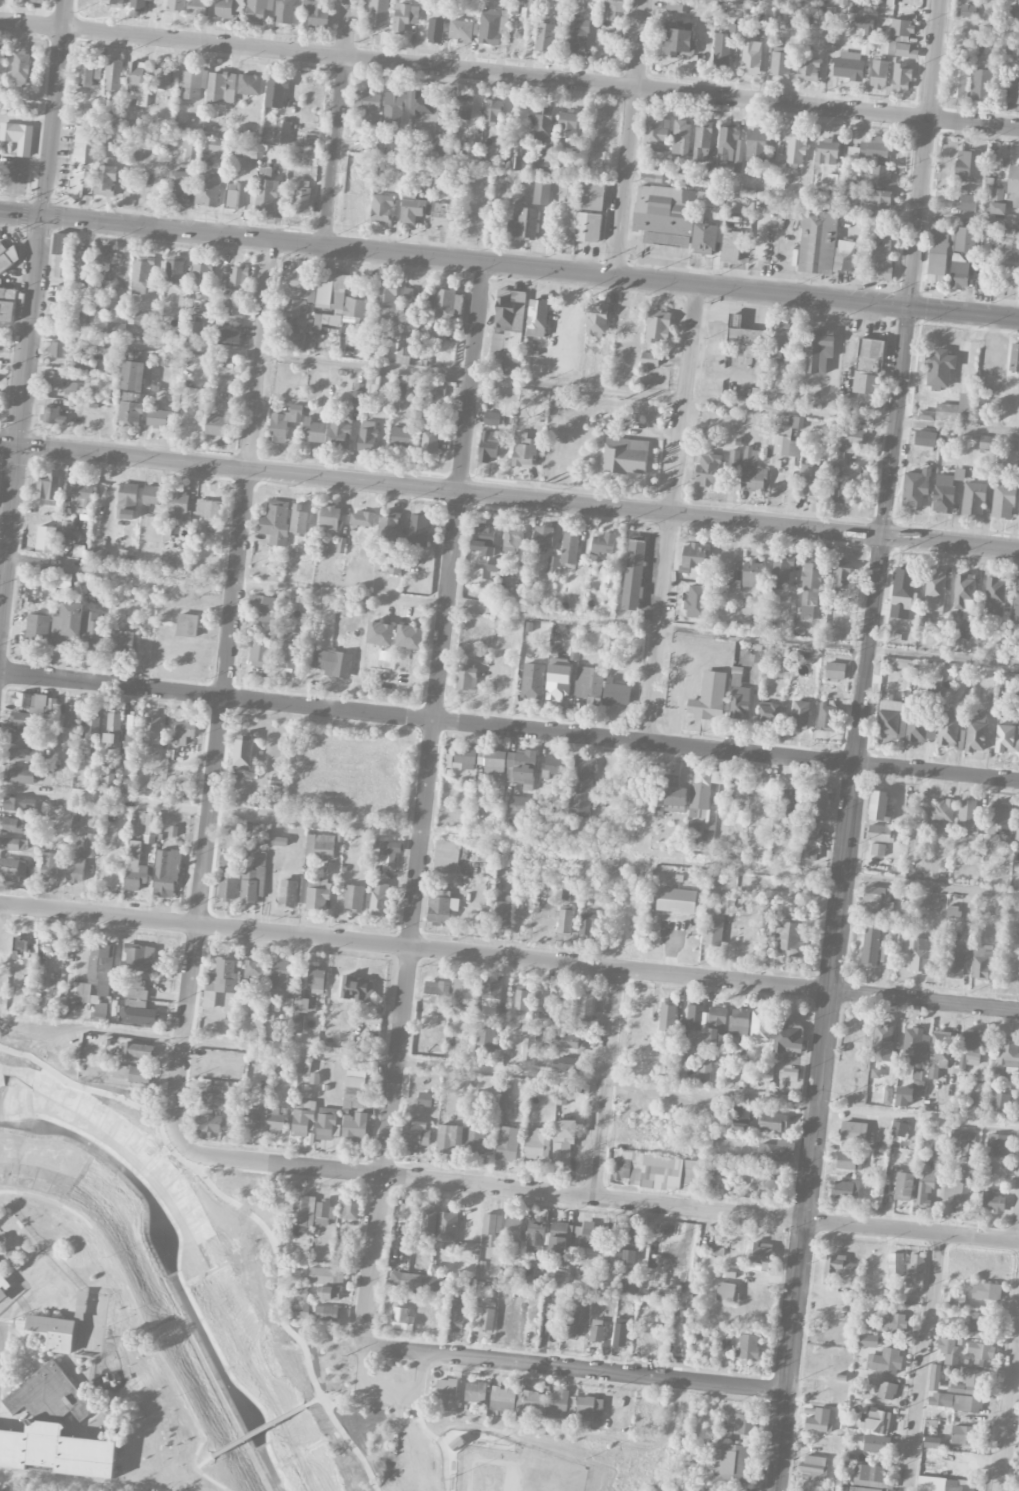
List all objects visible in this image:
building: (149, 0)
building: (739, 0)
building: (114, 3)
building: (137, 4)
building: (530, 4)
building: (176, 5)
building: (238, 5)
building: (677, 5)
building: (197, 7)
building: (224, 9)
building: (611, 9)
building: (258, 10)
building: (968, 10)
building: (285, 12)
building: (317, 13)
building: (378, 14)
building: (404, 17)
building: (794, 20)
building: (491, 26)
building: (865, 27)
building: (902, 28)
road: (978, 28)
building: (435, 31)
building: (461, 31)
building: (763, 31)
building: (576, 36)
building: (544, 37)
building: (677, 42)
building: (888, 47)
building: (721, 51)
building: (906, 51)
building: (751, 57)
building: (1, 61)
building: (780, 62)
building: (21, 65)
building: (848, 66)
building: (809, 68)
building: (88, 73)
road: (509, 74)
building: (878, 74)
building: (113, 77)
building: (162, 77)
building: (902, 77)
building: (982, 80)
building: (960, 81)
building: (192, 84)
building: (220, 85)
building: (249, 85)
building: (1016, 92)
building: (276, 93)
building: (10, 106)
building: (369, 106)
building: (425, 106)
building: (463, 107)
road: (54, 108)
building: (494, 112)
road: (26, 119)
road: (336, 123)
building: (543, 123)
building: (568, 124)
building: (282, 131)
building: (656, 134)
building: (18, 137)
road: (628, 138)
building: (681, 138)
building: (702, 141)
building: (756, 146)
building: (219, 148)
building: (191, 149)
building: (441, 149)
building: (730, 149)
building: (796, 149)
building: (244, 150)
building: (871, 150)
building: (827, 152)
road: (924, 154)
building: (306, 157)
building: (81, 162)
building: (967, 165)
building: (594, 167)
building: (651, 175)
building: (881, 175)
building: (105, 181)
building: (177, 187)
building: (1012, 187)
building: (208, 189)
building: (266, 191)
building: (542, 191)
building: (571, 191)
building: (998, 194)
building: (591, 195)
building: (302, 197)
building: (231, 198)
building: (709, 199)
building: (878, 200)
building: (969, 203)
building: (997, 207)
building: (411, 208)
building: (381, 209)
road: (22, 214)
building: (441, 214)
building: (664, 214)
traffic signals: (44, 217)
road: (968, 218)
road: (84, 221)
building: (523, 224)
building: (588, 227)
building: (822, 244)
building: (731, 247)
building: (948, 249)
building: (62, 255)
building: (103, 256)
building: (7, 257)
building: (881, 260)
building: (1009, 261)
road: (516, 266)
building: (174, 269)
building: (89, 271)
building: (958, 273)
building: (201, 275)
building: (141, 276)
building: (237, 277)
building: (301, 283)
building: (329, 288)
building: (386, 293)
building: (63, 294)
building: (410, 296)
building: (336, 302)
building: (447, 303)
building: (98, 306)
building: (182, 306)
building: (233, 308)
building: (356, 308)
traffic signals: (908, 308)
building: (510, 310)
road: (948, 312)
building: (537, 318)
road: (1004, 318)
building: (142, 319)
road: (918, 320)
building: (597, 321)
building: (325, 322)
building: (624, 326)
building: (657, 326)
building: (116, 328)
building: (2, 330)
building: (779, 335)
building: (229, 338)
building: (744, 340)
building: (294, 341)
building: (405, 349)
building: (61, 350)
building: (820, 350)
building: (505, 356)
building: (1013, 357)
building: (650, 359)
building: (869, 366)
building: (940, 369)
building: (54, 378)
road: (509, 381)
building: (376, 384)
building: (438, 389)
building: (71, 390)
building: (400, 391)
building: (132, 393)
building: (356, 393)
building: (965, 407)
road: (21, 409)
building: (52, 416)
building: (158, 416)
building: (344, 418)
building: (493, 418)
road: (908, 422)
building: (284, 423)
building: (216, 425)
building: (313, 431)
building: (340, 436)
building: (367, 436)
building: (851, 436)
building: (401, 437)
building: (787, 439)
building: (430, 440)
building: (987, 442)
road: (8, 444)
traffic signals: (17, 445)
building: (488, 446)
building: (524, 450)
building: (624, 456)
building: (837, 458)
building: (708, 470)
building: (752, 471)
building: (810, 482)
building: (915, 488)
building: (48, 489)
building: (842, 490)
building: (82, 494)
building: (152, 494)
building: (943, 494)
road: (518, 497)
building: (973, 498)
building: (1002, 499)
building: (127, 501)
building: (177, 505)
building: (208, 509)
road: (671, 513)
building: (329, 516)
building: (298, 519)
building: (362, 519)
road: (871, 520)
building: (276, 522)
building: (388, 526)
building: (66, 527)
building: (418, 530)
building: (484, 531)
traffic signals: (884, 535)
building: (543, 536)
road: (883, 536)
building: (46, 539)
building: (603, 544)
building: (570, 546)
building: (484, 548)
building: (511, 548)
building: (693, 559)
building: (396, 563)
building: (492, 564)
building: (552, 565)
building: (782, 567)
building: (752, 574)
building: (474, 575)
building: (634, 575)
building: (842, 576)
building: (21, 578)
building: (609, 580)
building: (63, 581)
building: (733, 586)
building: (810, 587)
building: (963, 589)
building: (935, 590)
building: (995, 591)
building: (903, 593)
building: (696, 601)
building: (1017, 601)
building: (263, 607)
road: (509, 611)
building: (67, 625)
building: (187, 625)
building: (37, 629)
building: (93, 629)
building: (380, 634)
building: (410, 637)
building: (122, 642)
road: (881, 651)
building: (259, 655)
building: (289, 657)
building: (333, 663)
building: (902, 663)
building: (835, 670)
building: (967, 671)
building: (466, 676)
building: (1012, 676)
building: (533, 681)
building: (589, 685)
road: (221, 689)
building: (556, 691)
building: (616, 693)
building: (709, 697)
building: (35, 701)
building: (740, 702)
building: (769, 712)
building: (70, 715)
building: (800, 715)
building: (827, 718)
building: (888, 719)
building: (24, 720)
building: (92, 722)
building: (153, 727)
road: (509, 727)
building: (113, 728)
building: (948, 729)
building: (132, 730)
building: (921, 730)
building: (185, 732)
building: (976, 732)
building: (20, 737)
building: (1006, 738)
building: (243, 750)
building: (27, 755)
building: (465, 757)
building: (492, 760)
building: (554, 764)
building: (521, 767)
road: (841, 773)
building: (19, 774)
building: (105, 780)
building: (581, 785)
building: (702, 792)
building: (674, 795)
building: (791, 800)
building: (819, 801)
road: (424, 802)
building: (19, 804)
building: (519, 805)
building: (879, 806)
building: (940, 815)
building: (968, 816)
building: (997, 817)
building: (1018, 823)
building: (12, 825)
building: (150, 827)
building: (880, 833)
building: (252, 834)
building: (279, 841)
road: (511, 841)
building: (812, 842)
building: (13, 844)
building: (90, 845)
building: (320, 846)
building: (877, 849)
building: (389, 853)
building: (446, 857)
building: (49, 866)
building: (75, 867)
building: (134, 868)
building: (11, 870)
building: (166, 873)
road: (844, 877)
building: (253, 881)
building: (228, 888)
building: (288, 893)
building: (318, 893)
building: (876, 896)
building: (353, 897)
building: (378, 899)
building: (676, 900)
building: (727, 902)
building: (439, 906)
building: (769, 911)
building: (953, 912)
building: (500, 915)
building: (564, 921)
building: (587, 923)
building: (713, 932)
building: (791, 938)
building: (1016, 943)
building: (19, 947)
road: (415, 947)
building: (45, 949)
building: (869, 951)
building: (885, 952)
building: (919, 955)
building: (139, 958)
building: (981, 961)
building: (955, 964)
building: (254, 969)
building: (279, 977)
building: (316, 979)
building: (220, 981)
building: (93, 984)
building: (356, 989)
building: (243, 991)
building: (462, 991)
building: (437, 994)
building: (491, 998)
building: (522, 1000)
road: (925, 1000)
building: (586, 1004)
building: (137, 1005)
building: (301, 1005)
building: (667, 1017)
building: (703, 1022)
building: (739, 1022)
building: (760, 1025)
building: (716, 1035)
building: (787, 1037)
building: (855, 1038)
building: (486, 1039)
building: (569, 1041)
building: (883, 1042)
building: (915, 1045)
building: (527, 1049)
building: (971, 1049)
building: (138, 1050)
building: (1009, 1051)
building: (939, 1052)
building: (566, 1059)
building: (117, 1071)
building: (704, 1071)
building: (139, 1075)
road: (552, 1075)
building: (919, 1077)
building: (314, 1078)
road: (606, 1083)
building: (356, 1093)
building: (977, 1093)
building: (887, 1096)
building: (562, 1097)
building: (903, 1097)
building: (215, 1098)
building: (425, 1099)
building: (503, 1099)
building: (1000, 1101)
road: (817, 1106)
building: (253, 1116)
building: (276, 1118)
building: (303, 1118)
building: (741, 1118)
building: (208, 1123)
building: (326, 1124)
building: (772, 1124)
building: (355, 1126)
building: (899, 1128)
building: (415, 1132)
building: (853, 1132)
building: (963, 1138)
building: (449, 1139)
building: (475, 1140)
building: (563, 1141)
building: (537, 1143)
building: (508, 1144)
building: (997, 1144)
building: (776, 1151)
building: (846, 1161)
building: (985, 1170)
building: (657, 1171)
building: (928, 1180)
building: (767, 1185)
building: (904, 1186)
road: (487, 1188)
building: (963, 1189)
building: (846, 1190)
building: (991, 1200)
building: (304, 1205)
building: (350, 1208)
building: (323, 1213)
road: (252, 1217)
building: (427, 1223)
building: (513, 1227)
building: (491, 1229)
building: (446, 1230)
road: (912, 1231)
building: (535, 1235)
building: (587, 1236)
building: (558, 1239)
building: (621, 1246)
building: (341, 1250)
building: (759, 1256)
building: (895, 1265)
building: (837, 1266)
building: (915, 1271)
building: (325, 1276)
building: (555, 1278)
building: (418, 1282)
building: (4, 1287)
building: (985, 1290)
building: (300, 1292)
building: (725, 1292)
building: (329, 1293)
building: (957, 1301)
park: (243, 1310)
building: (300, 1311)
building: (327, 1313)
building: (457, 1318)
building: (484, 1318)
road: (140, 1320)
building: (401, 1320)
building: (976, 1321)
building: (894, 1323)
building: (570, 1324)
building: (597, 1330)
building: (55, 1332)
building: (620, 1332)
building: (868, 1341)
building: (747, 1347)
building: (948, 1350)
building: (980, 1351)
road: (789, 1356)
building: (885, 1361)
road: (922, 1362)
road: (574, 1369)
building: (935, 1377)
building: (971, 1377)
road: (387, 1387)
parking lot: (390, 1387)
building: (957, 1388)
building: (445, 1390)
building: (887, 1391)
building: (475, 1392)
road: (338, 1398)
building: (502, 1399)
building: (940, 1399)
building: (530, 1401)
building: (966, 1403)
building: (557, 1407)
building: (588, 1409)
road: (1009, 1409)
building: (818, 1420)
building: (878, 1420)
building: (744, 1424)
building: (53, 1429)
road: (258, 1430)
building: (963, 1434)
building: (932, 1442)
building: (877, 1444)
building: (732, 1461)
road: (204, 1462)
building: (814, 1468)
building: (868, 1475)
building: (944, 1485)
building: (853, 1489)

